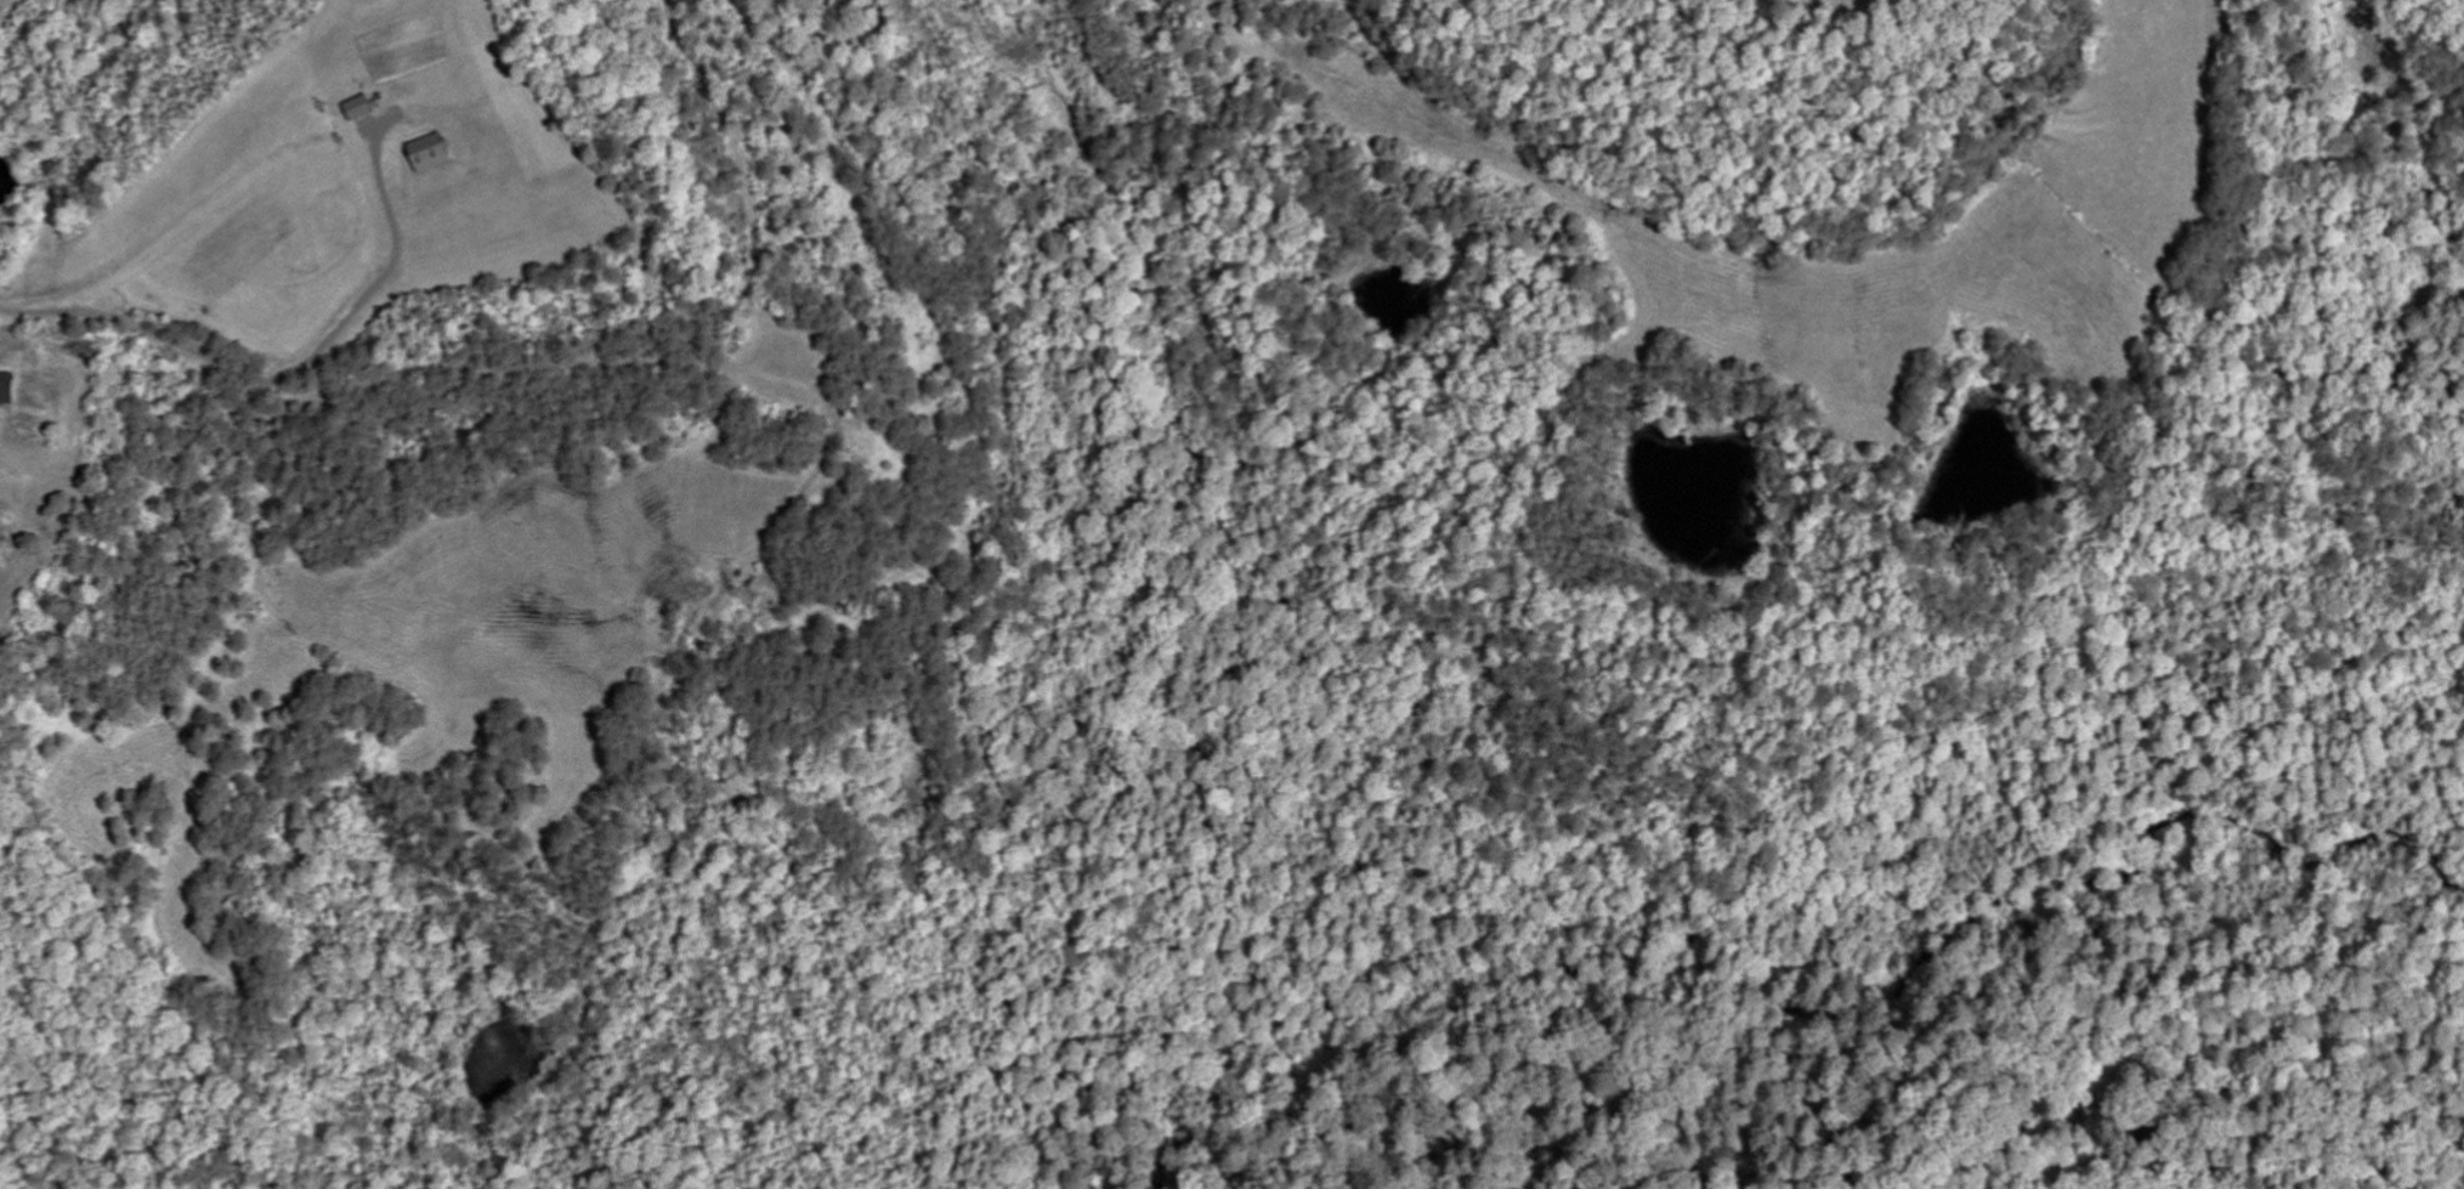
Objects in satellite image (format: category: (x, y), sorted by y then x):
building: (366, 109)
building: (10, 389)
river: (1796, 1019)

